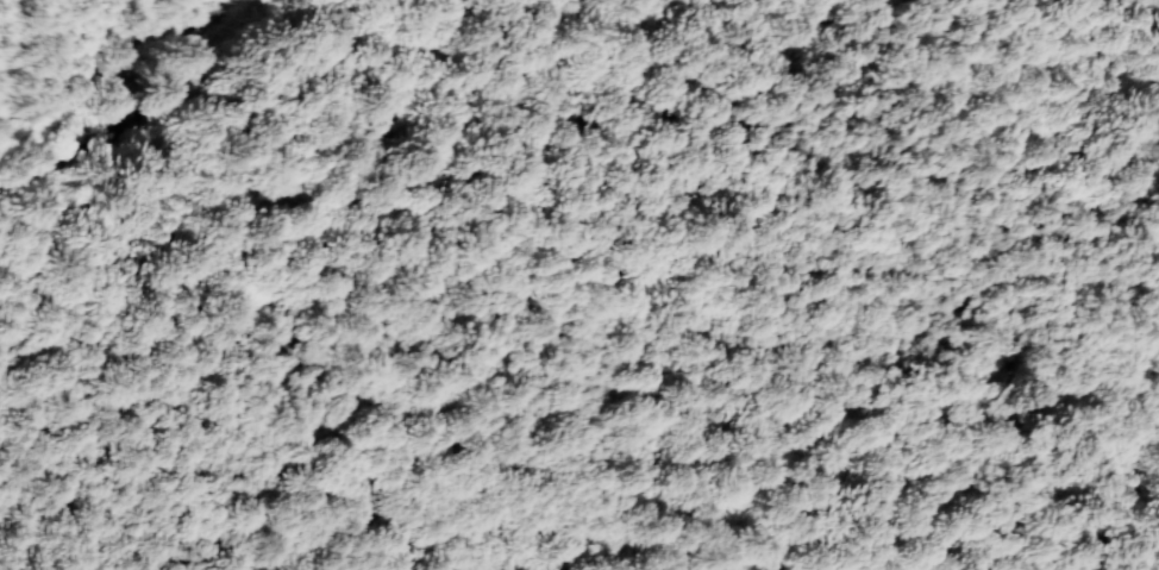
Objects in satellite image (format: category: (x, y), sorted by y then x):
road: (109, 86)

